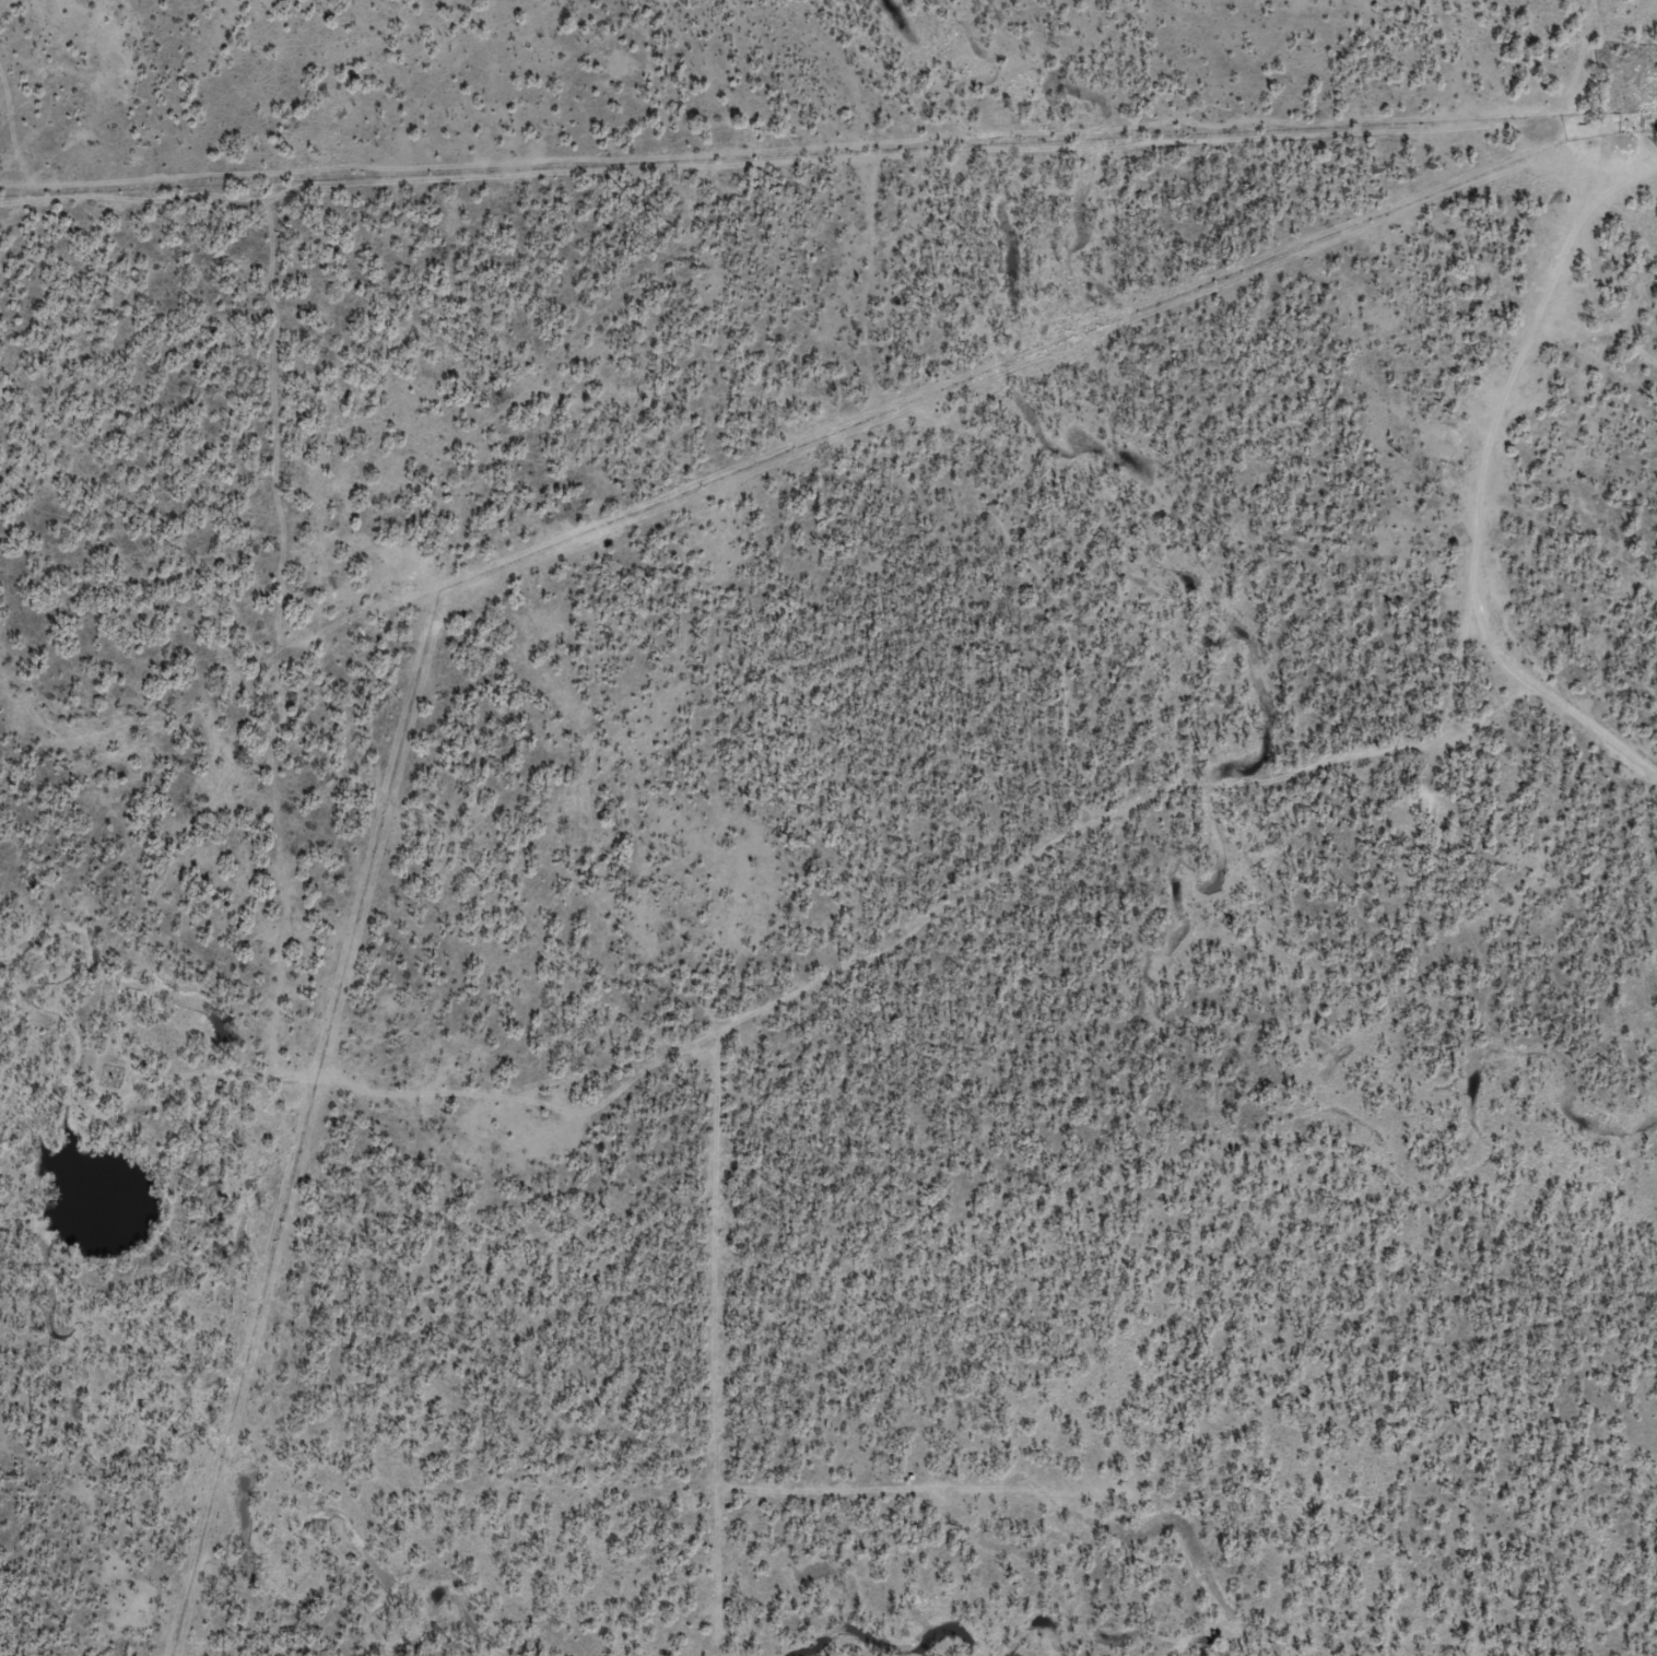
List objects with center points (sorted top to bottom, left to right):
road: (1511, 406)

